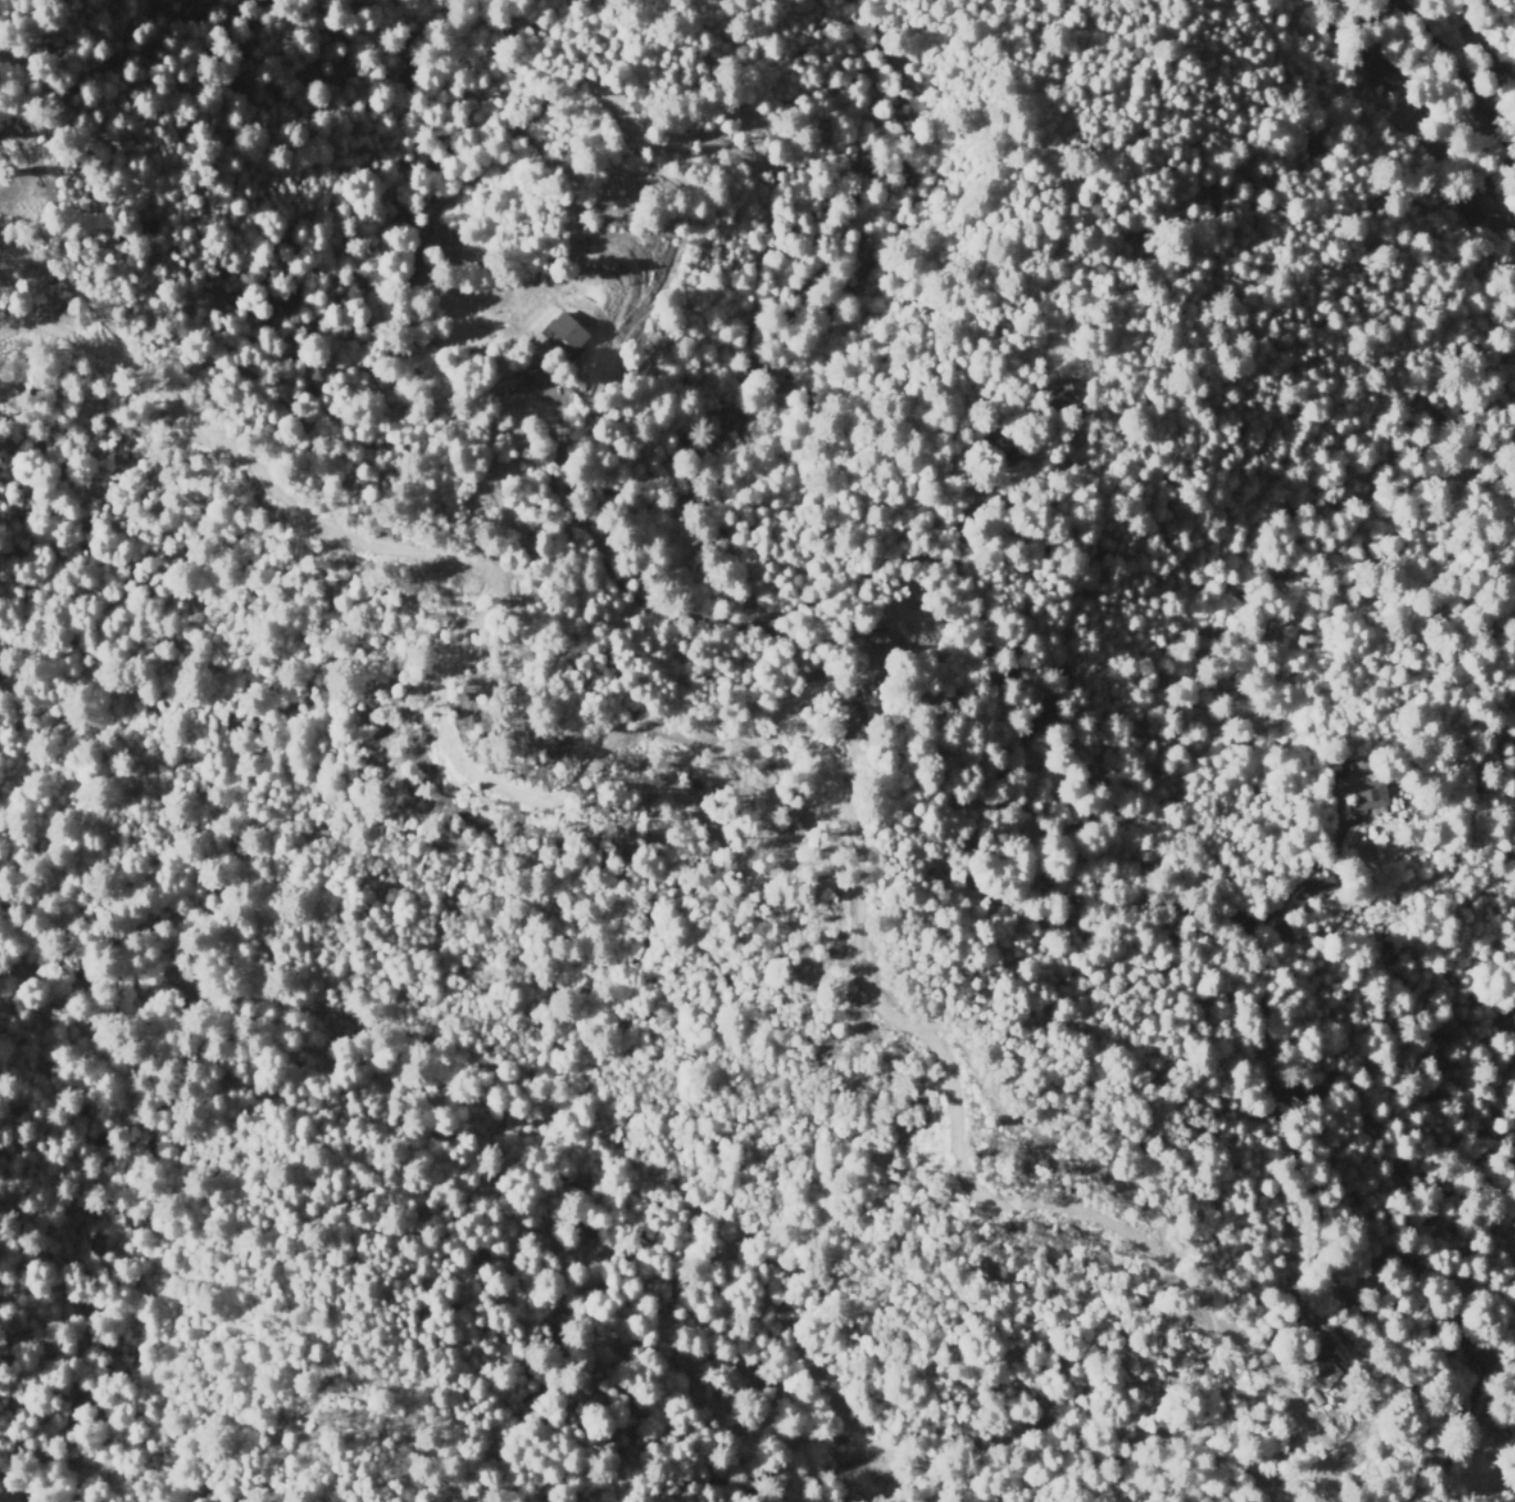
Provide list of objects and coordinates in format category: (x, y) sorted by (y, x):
building: (1368, 55)
road: (1242, 72)
road: (1464, 72)
building: (1390, 75)
building: (1477, 200)
building: (567, 332)
building: (1069, 398)
building: (826, 673)
building: (1050, 718)
building: (848, 720)
road: (718, 734)
building: (1371, 793)
building: (1324, 885)
river: (492, 1101)
building: (1296, 1294)
building: (1297, 1320)
building: (1473, 1353)
building: (1324, 1370)
building: (1489, 1434)

